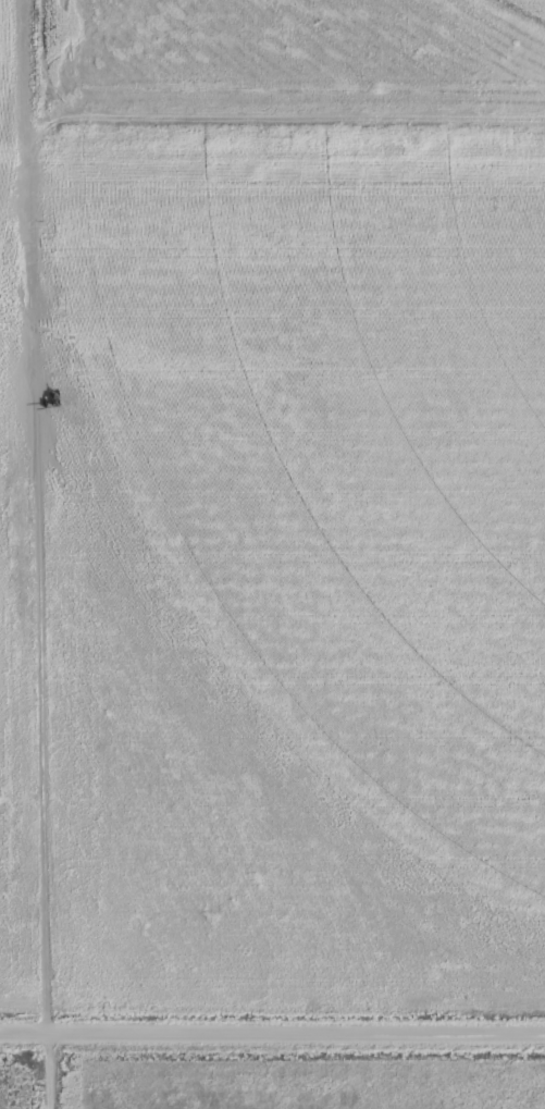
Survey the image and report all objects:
road: (38, 554)
road: (272, 1031)

